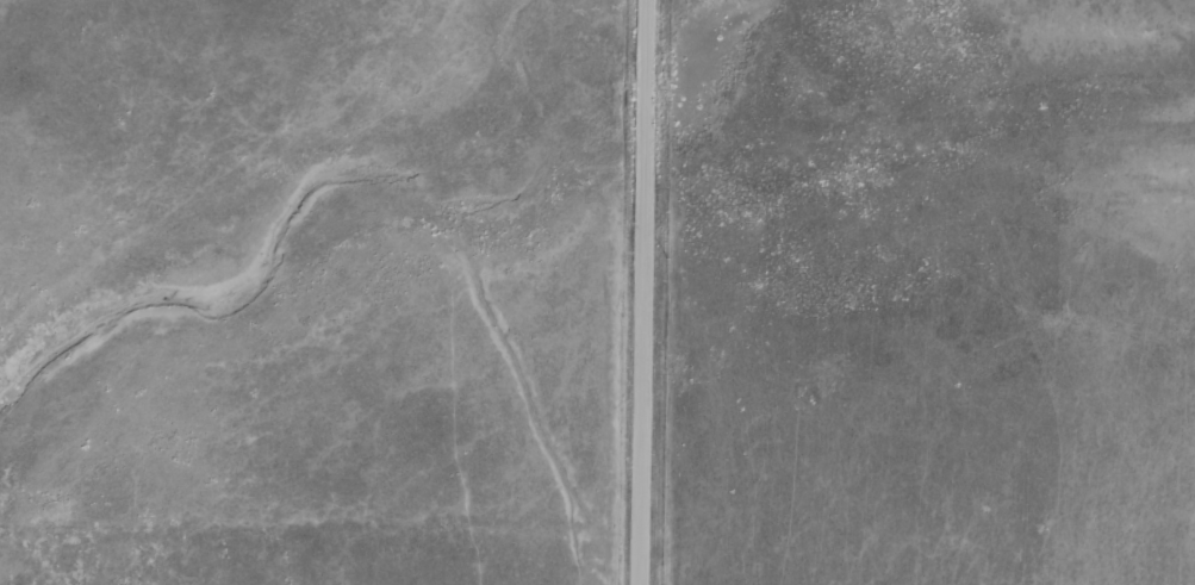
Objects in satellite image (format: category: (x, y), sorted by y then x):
road: (645, 292)

